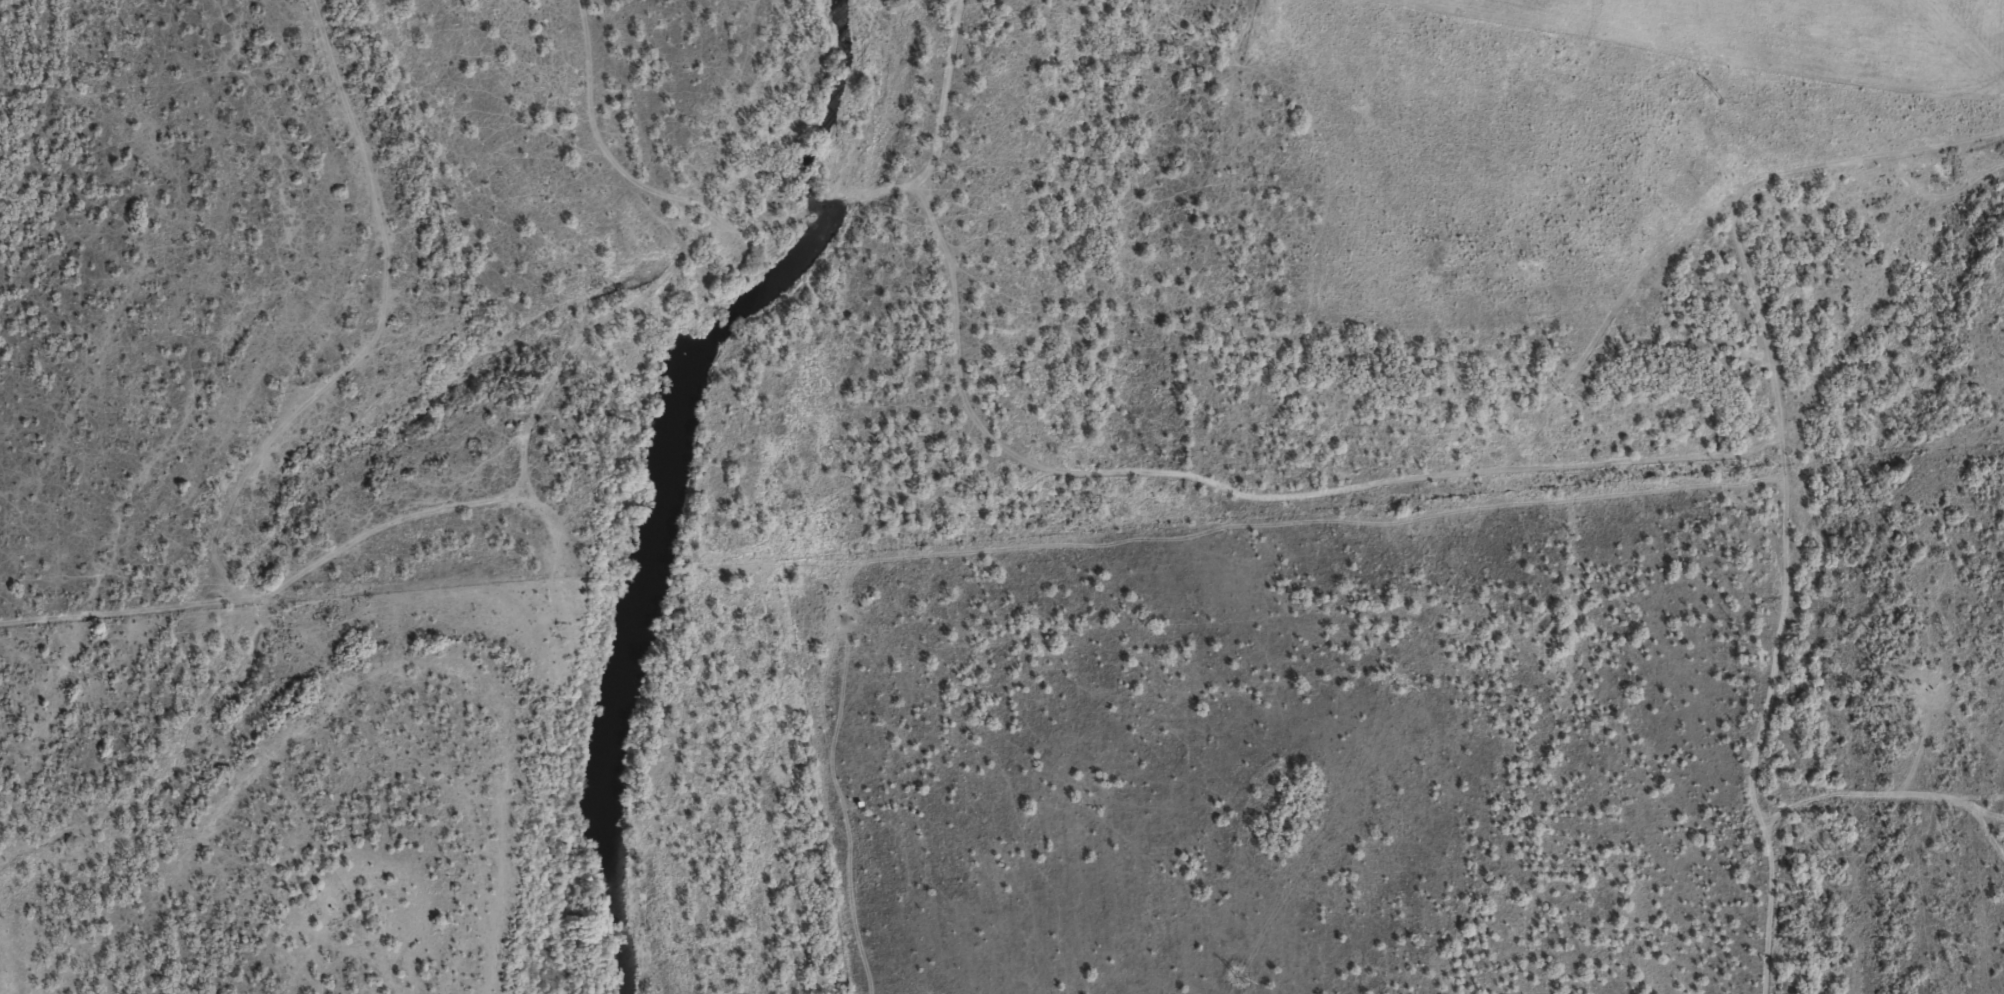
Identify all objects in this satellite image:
road: (288, 25)
road: (575, 58)
power tower: (1721, 100)
road: (967, 151)
power tower: (1560, 393)
power tower: (1400, 686)
power tower: (1238, 979)

